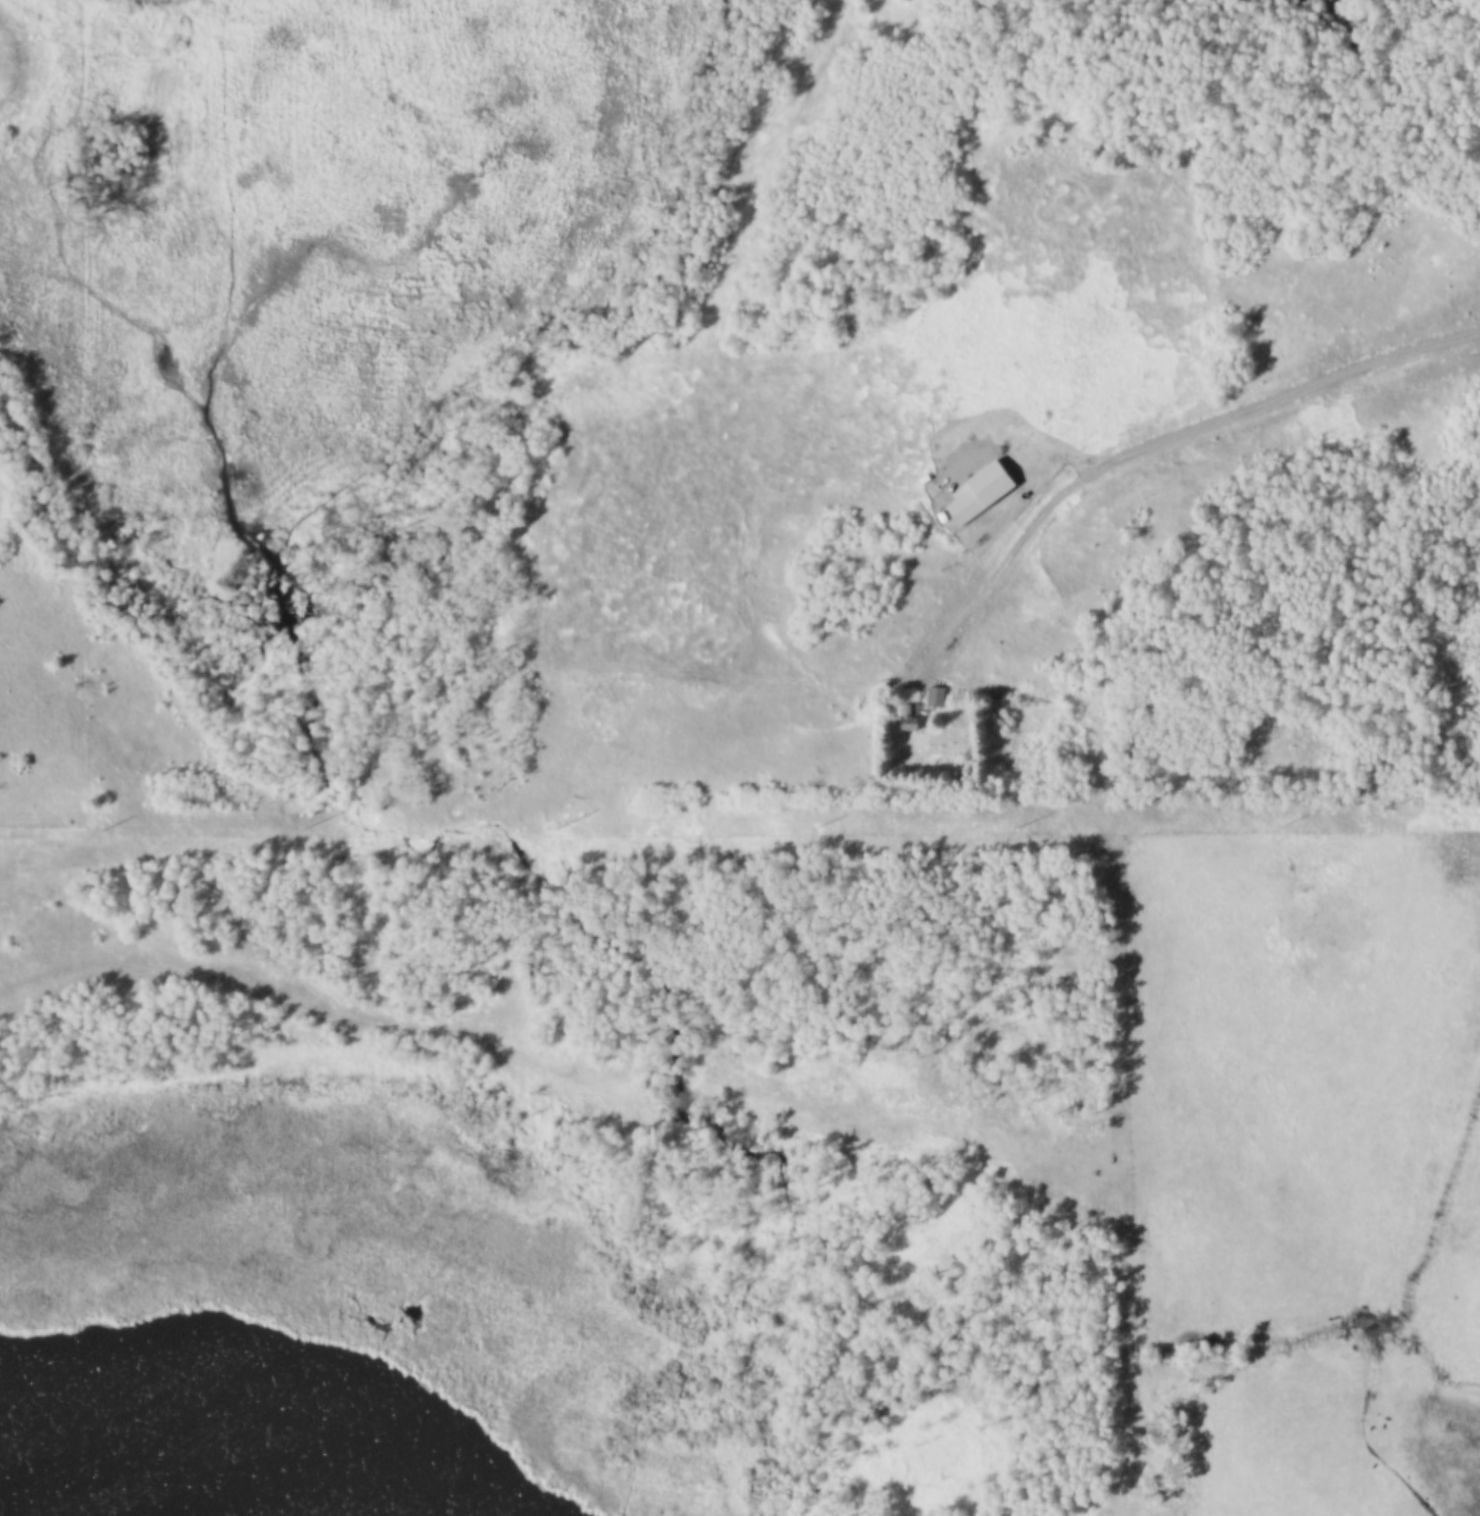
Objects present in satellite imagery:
road: (1156, 442)
building: (937, 696)
building: (912, 717)
road: (554, 1070)
road: (1117, 1179)

